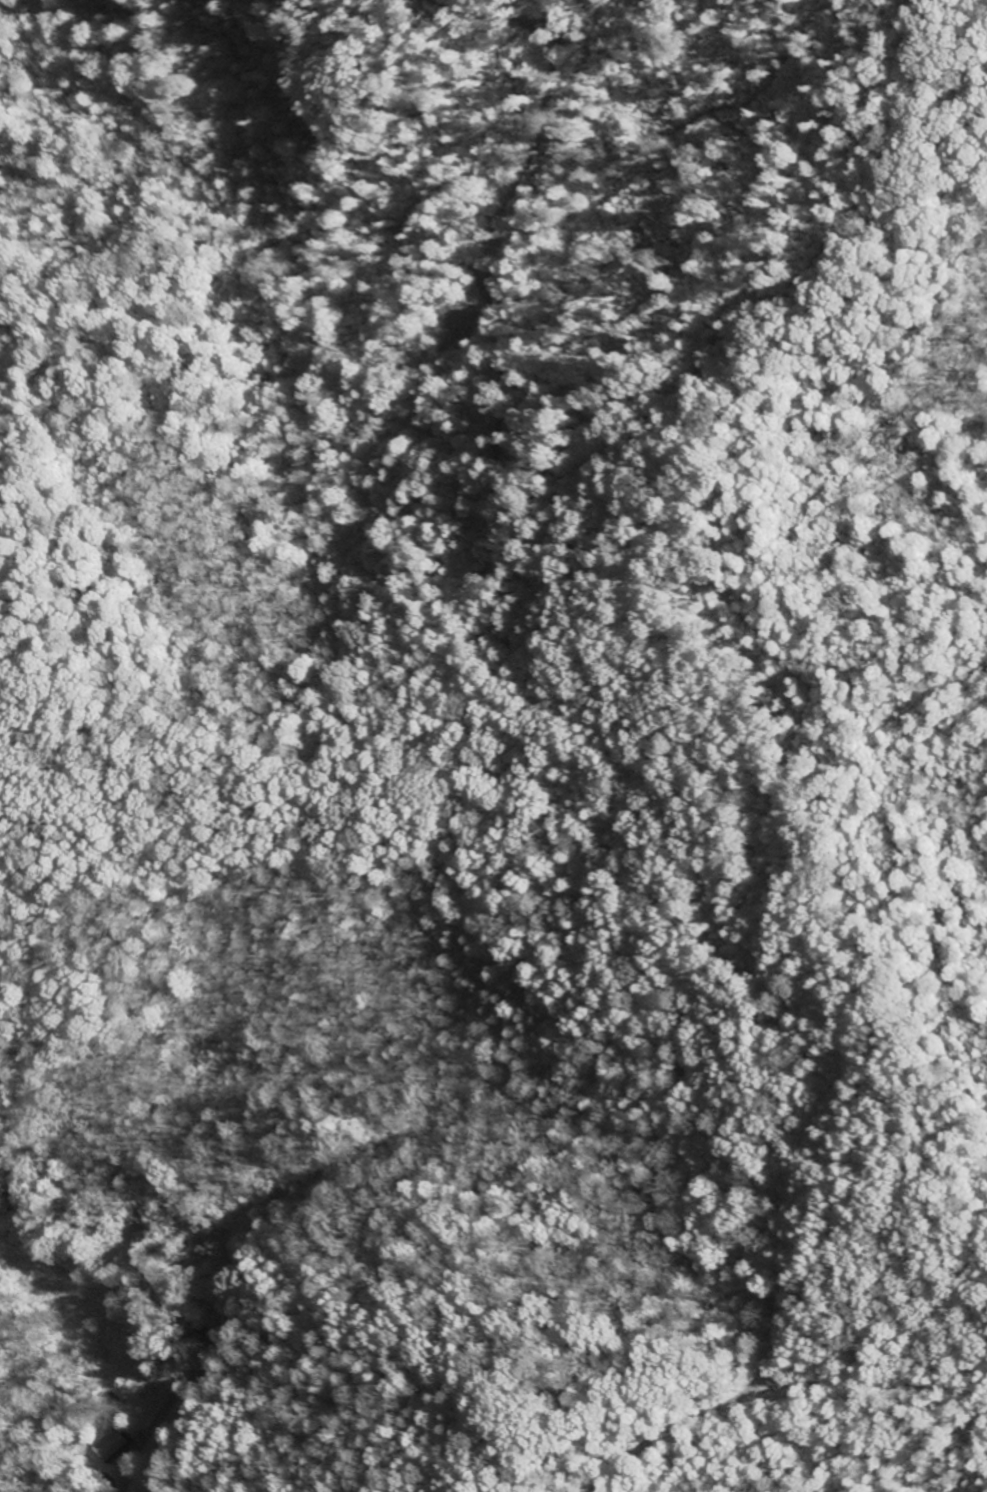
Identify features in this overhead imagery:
road: (43, 634)
road: (645, 1319)
road: (151, 1422)

